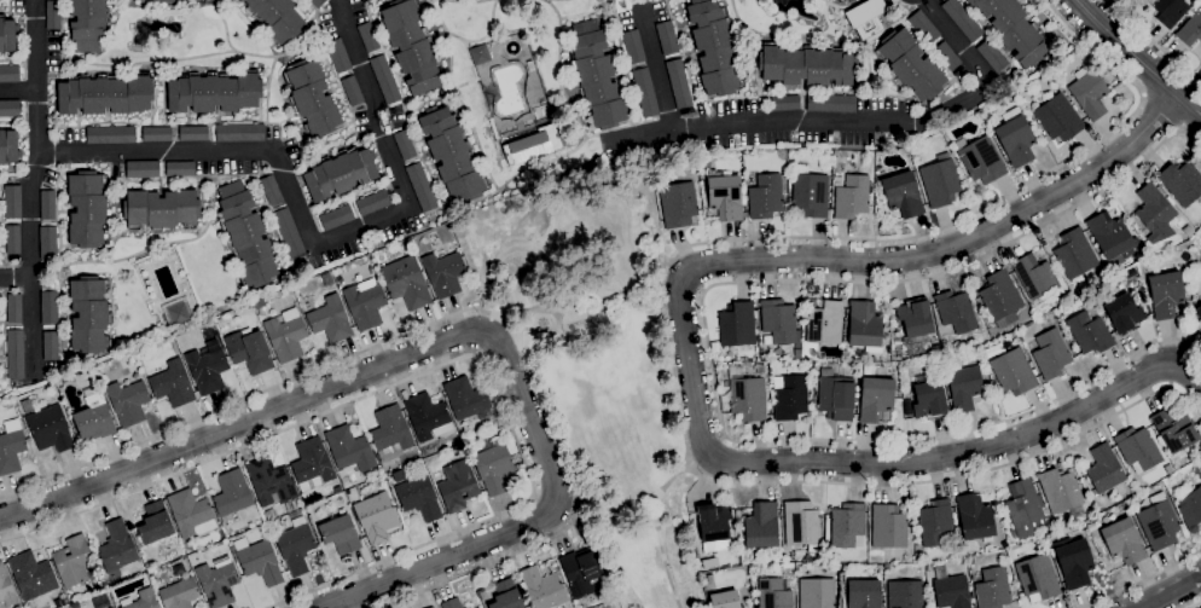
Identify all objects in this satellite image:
building: (140, 0)
building: (198, 0)
building: (239, 0)
building: (840, 0)
building: (849, 0)
building: (168, 1)
building: (317, 2)
building: (1168, 10)
building: (53, 15)
building: (864, 17)
building: (277, 18)
building: (962, 19)
building: (88, 23)
building: (923, 27)
building: (1190, 28)
building: (1015, 30)
building: (8, 34)
building: (367, 36)
building: (667, 37)
road: (1154, 41)
building: (412, 46)
building: (633, 46)
building: (714, 47)
building: (480, 54)
building: (338, 56)
building: (946, 56)
building: (992, 56)
road: (1138, 57)
building: (806, 64)
building: (911, 64)
road: (657, 68)
building: (8, 73)
building: (596, 75)
building: (385, 79)
building: (678, 83)
road: (18, 89)
building: (352, 89)
building: (214, 92)
building: (645, 92)
building: (1089, 92)
building: (105, 93)
building: (312, 97)
building: (785, 103)
building: (830, 103)
building: (10, 108)
road: (1158, 115)
building: (1057, 116)
road: (863, 121)
building: (239, 132)
building: (157, 133)
building: (193, 133)
building: (110, 134)
building: (1015, 137)
building: (405, 144)
building: (8, 146)
building: (526, 146)
building: (452, 154)
building: (913, 154)
building: (980, 160)
building: (141, 168)
building: (180, 168)
building: (340, 173)
building: (940, 180)
building: (1182, 183)
building: (422, 186)
road: (30, 187)
building: (271, 189)
building: (810, 192)
building: (903, 193)
building: (724, 196)
building: (766, 196)
building: (852, 196)
building: (12, 201)
building: (372, 202)
building: (47, 203)
building: (678, 203)
building: (87, 208)
building: (162, 209)
building: (1155, 213)
building: (337, 216)
building: (1179, 222)
building: (1188, 230)
building: (288, 232)
building: (246, 234)
road: (311, 238)
building: (1113, 238)
building: (12, 239)
building: (48, 242)
building: (1074, 253)
road: (865, 260)
building: (443, 272)
road: (16, 276)
building: (1034, 276)
building: (405, 280)
road: (579, 288)
building: (1166, 294)
building: (1000, 296)
building: (365, 305)
building: (13, 307)
building: (48, 307)
road: (661, 308)
building: (956, 311)
building: (1197, 311)
building: (89, 313)
building: (179, 313)
building: (1124, 313)
road: (452, 315)
building: (915, 317)
building: (330, 318)
building: (1200, 320)
building: (221, 322)
building: (779, 322)
building: (737, 324)
building: (865, 325)
building: (823, 326)
building: (1089, 332)
building: (286, 335)
road: (449, 338)
road: (708, 342)
building: (50, 344)
building: (249, 351)
building: (797, 352)
building: (14, 353)
building: (1051, 353)
road: (445, 363)
park: (599, 365)
building: (811, 366)
building: (760, 367)
building: (207, 369)
building: (1013, 371)
building: (173, 383)
building: (964, 387)
building: (748, 395)
building: (836, 395)
building: (790, 396)
building: (465, 398)
building: (875, 398)
building: (929, 398)
building: (128, 401)
building: (428, 416)
building: (94, 418)
building: (50, 428)
building: (1174, 429)
building: (390, 433)
building: (11, 446)
building: (349, 448)
building: (1138, 450)
road: (968, 451)
building: (312, 464)
building: (493, 464)
building: (1104, 468)
building: (1196, 471)
building: (396, 476)
building: (271, 481)
building: (458, 485)
building: (337, 490)
building: (1061, 491)
building: (1182, 491)
building: (232, 492)
building: (418, 497)
building: (1023, 503)
road: (638, 504)
building: (1191, 509)
building: (188, 511)
building: (376, 516)
building: (974, 517)
building: (155, 522)
building: (1159, 522)
building: (936, 523)
building: (714, 525)
building: (761, 525)
building: (801, 525)
building: (848, 526)
building: (888, 527)
building: (341, 533)
building: (1122, 542)
building: (296, 544)
building: (117, 546)
road: (662, 556)
building: (74, 560)
building: (259, 560)
building: (969, 560)
building: (1073, 561)
building: (709, 562)
building: (581, 571)
building: (30, 573)
building: (1037, 577)
building: (219, 580)
road: (1141, 581)
building: (6, 587)
building: (541, 587)
building: (992, 589)
building: (180, 591)
road: (1170, 591)
building: (817, 592)
building: (952, 592)
building: (504, 593)
building: (773, 593)
building: (864, 593)
building: (905, 593)
building: (140, 600)
building: (725, 600)
building: (451, 603)
road: (1193, 603)
building: (103, 604)
building: (111, 607)
building: (430, 607)
building: (475, 607)

